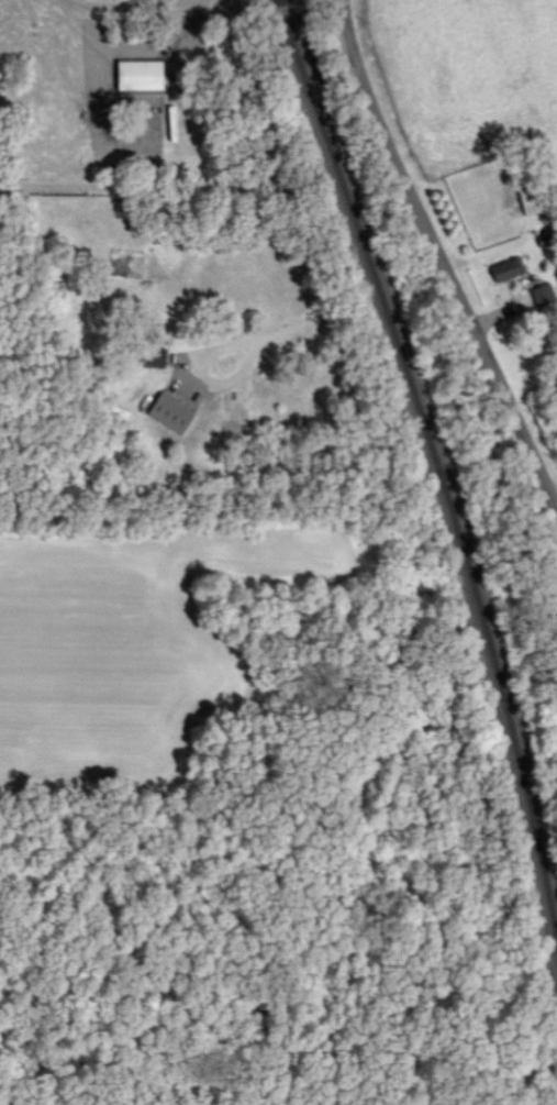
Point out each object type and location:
road: (225, 3)
building: (140, 74)
road: (287, 170)
road: (144, 186)
building: (530, 198)
road: (435, 258)
building: (508, 267)
building: (543, 294)
building: (152, 352)
building: (170, 411)
railway: (432, 468)

